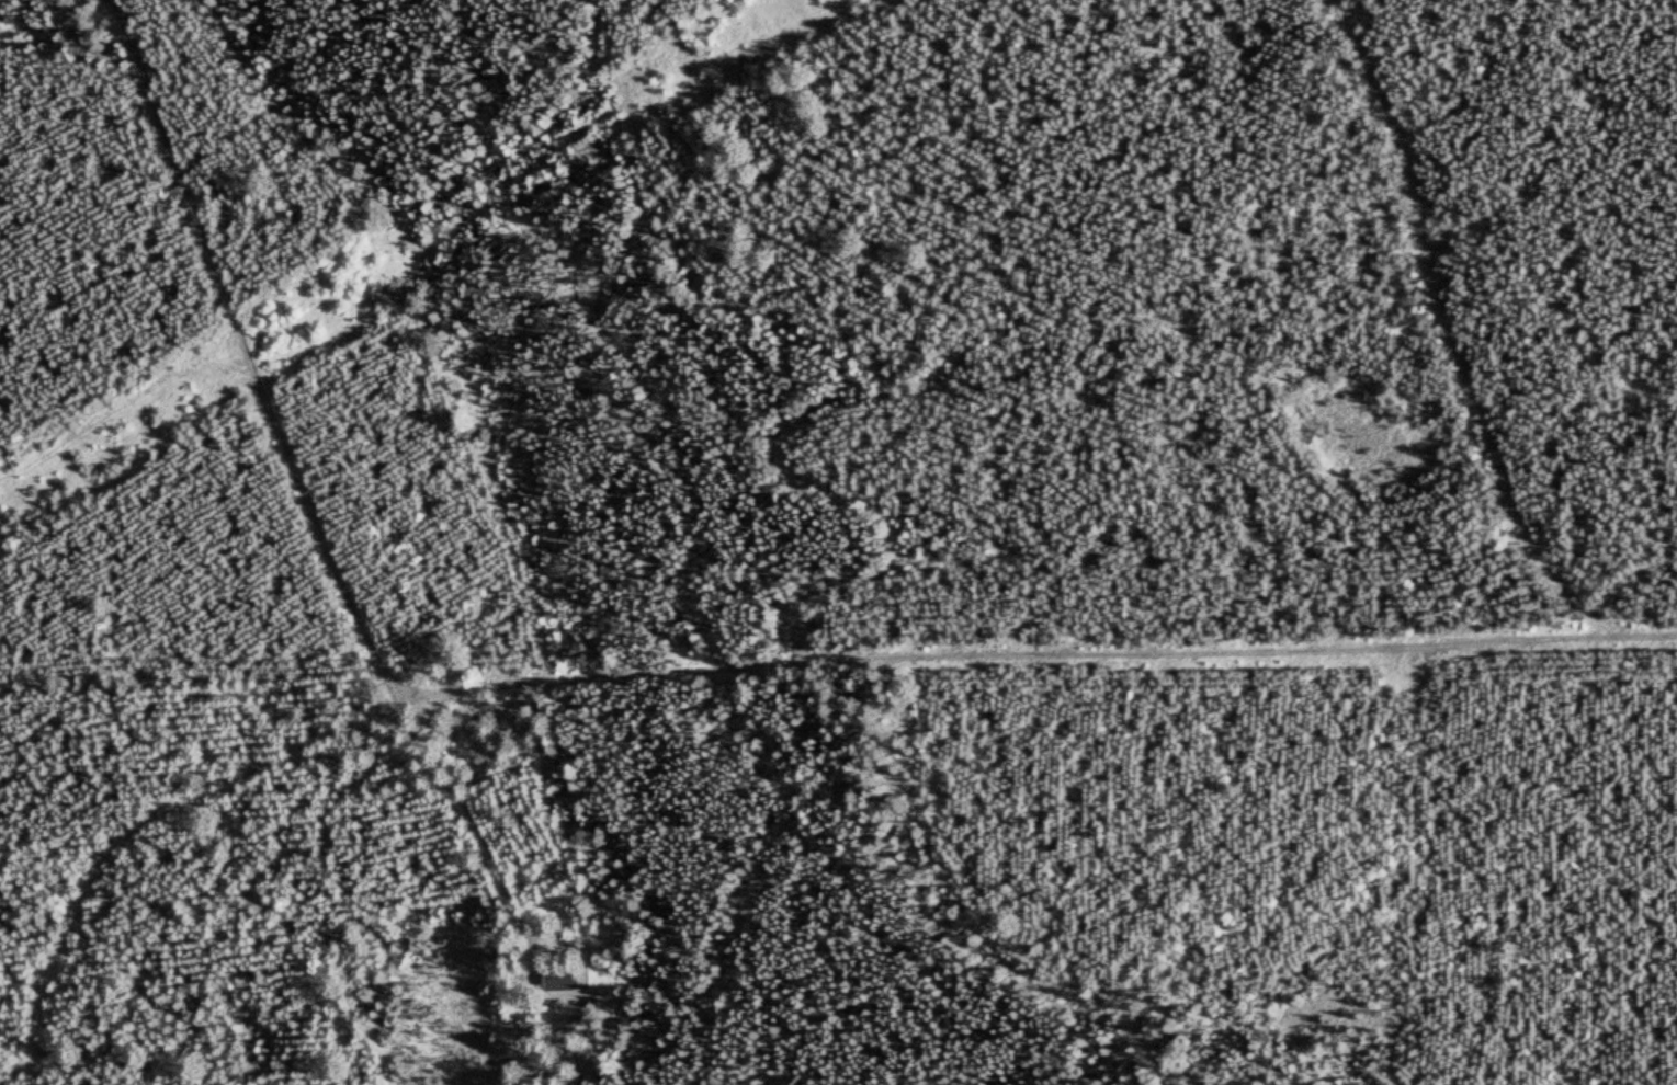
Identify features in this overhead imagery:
road: (247, 355)
road: (749, 675)
building: (563, 975)

